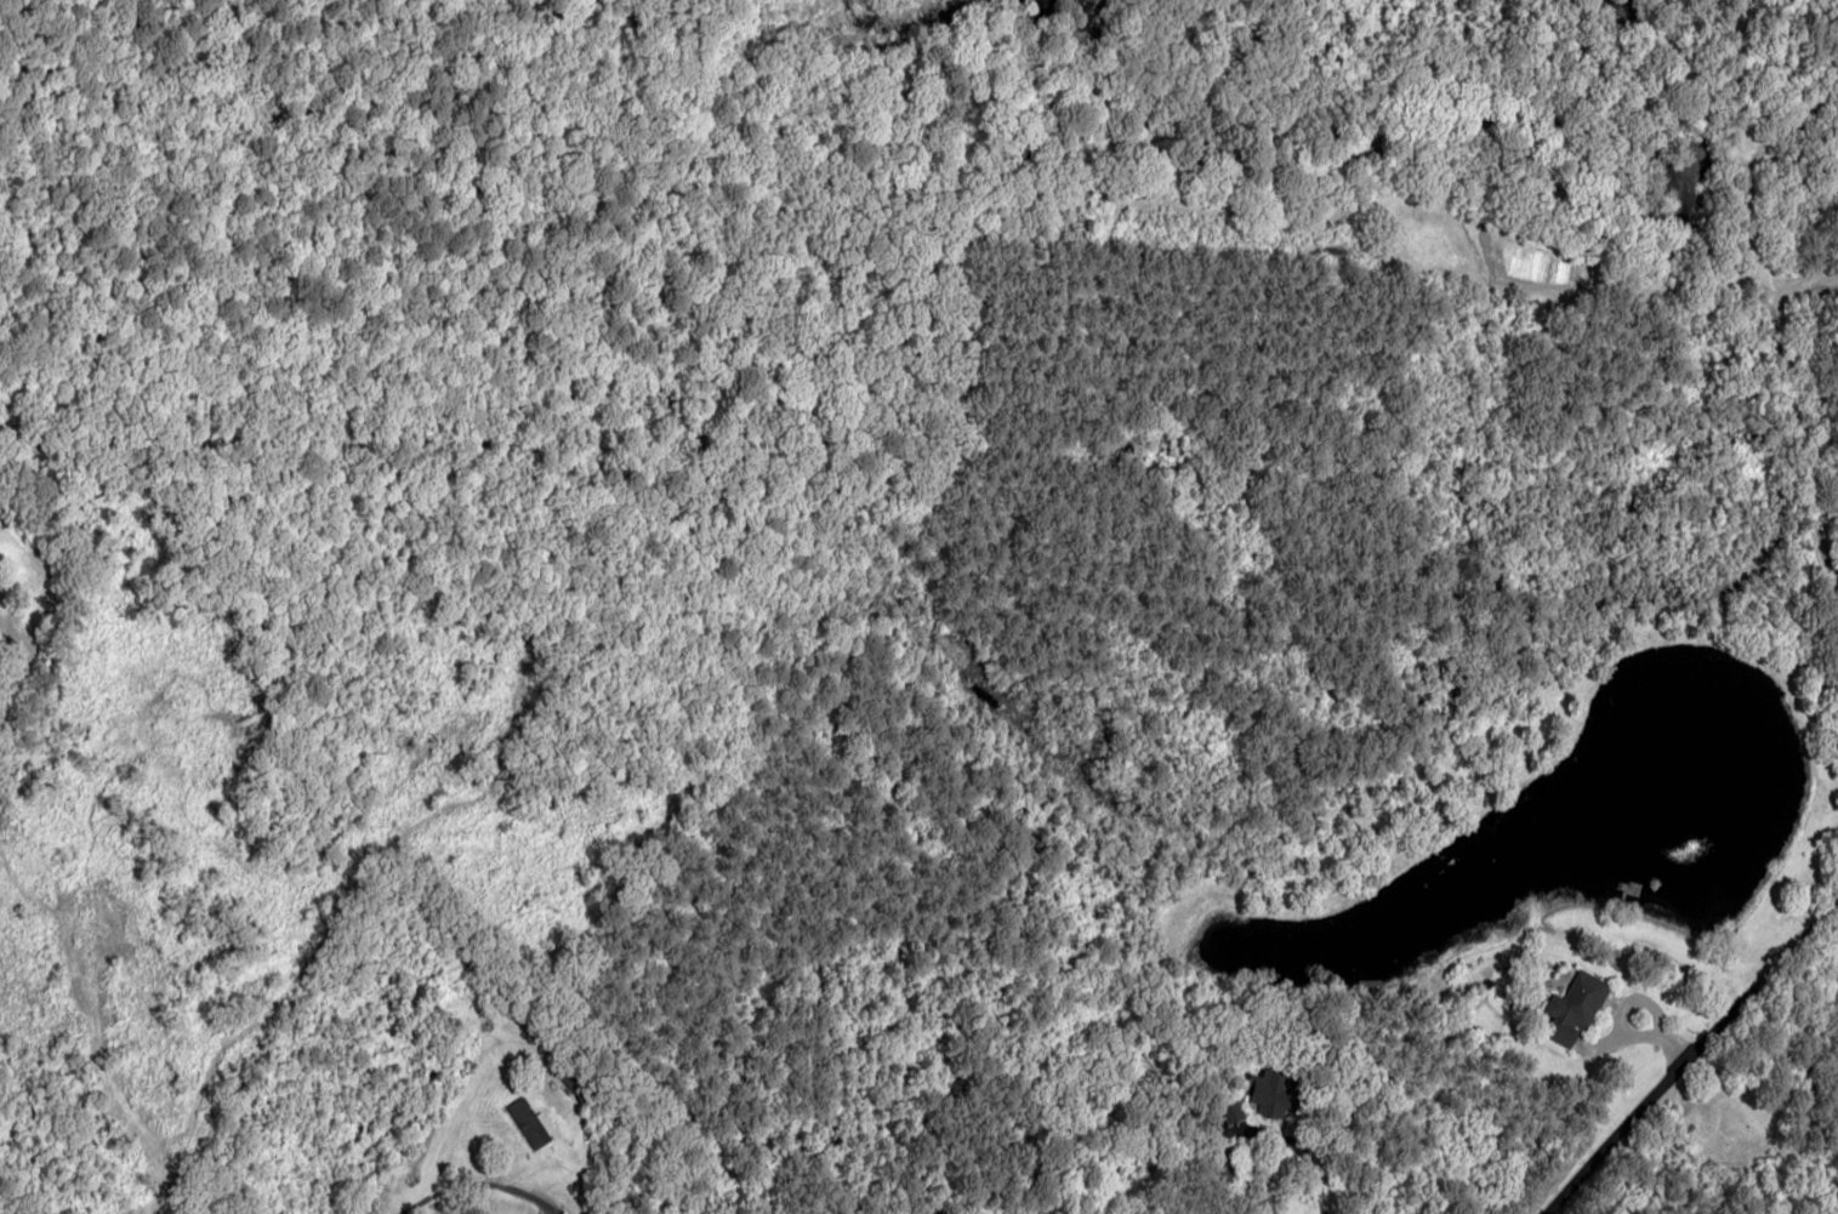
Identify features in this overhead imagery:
road: (1769, 360)
building: (1580, 1001)
building: (1271, 1095)
road: (1709, 1102)
building: (1233, 1116)
building: (530, 1124)

